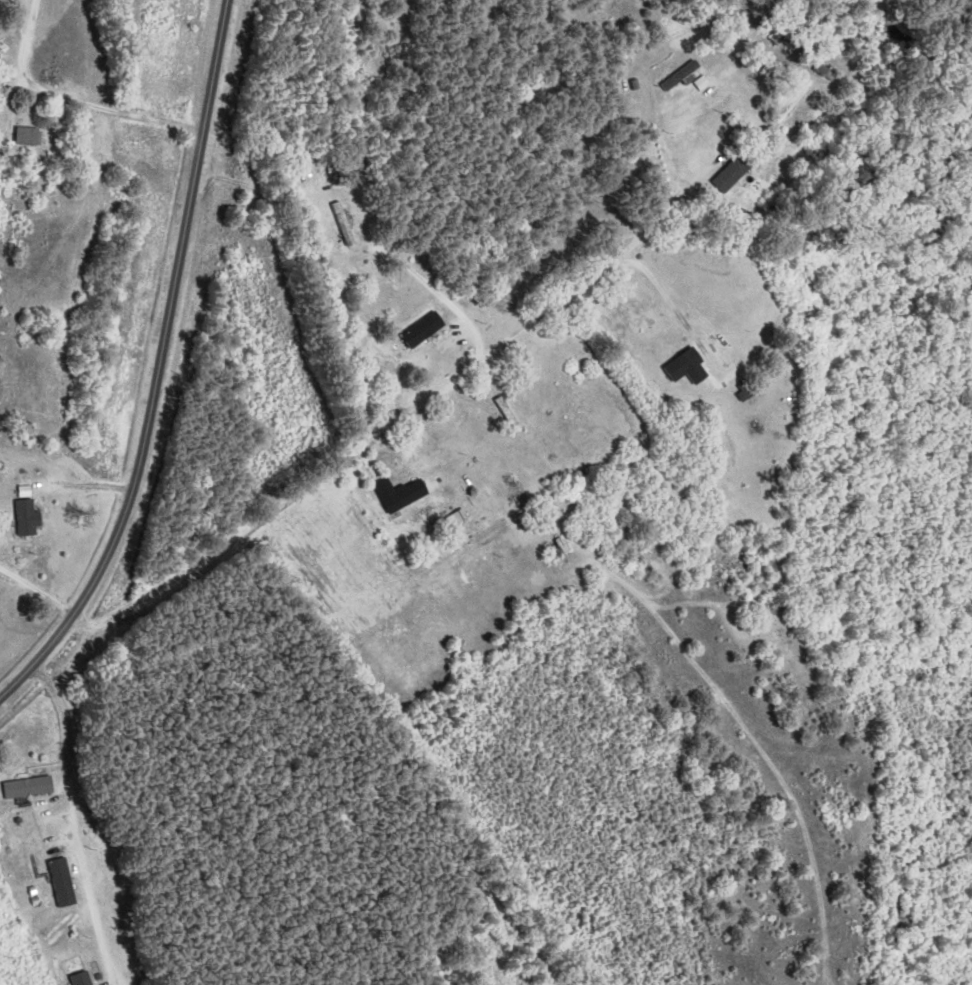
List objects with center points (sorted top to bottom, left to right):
building: (0, 3)
building: (825, 72)
building: (700, 78)
building: (29, 137)
building: (743, 166)
building: (343, 224)
building: (424, 331)
road: (157, 367)
building: (688, 368)
road: (389, 424)
building: (401, 495)
building: (28, 519)
building: (28, 787)
road: (73, 821)
building: (62, 882)

